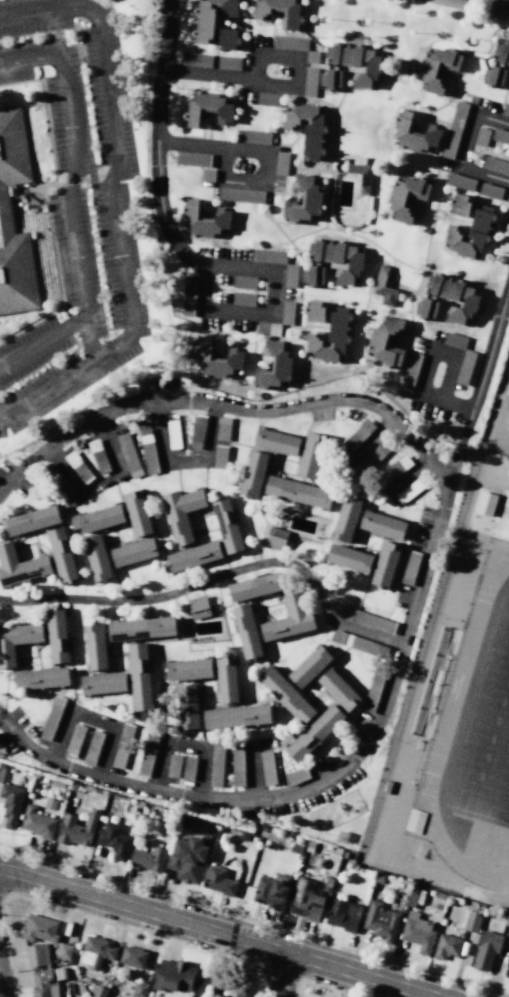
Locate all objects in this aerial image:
building: (280, 13)
road: (490, 14)
building: (212, 17)
road: (54, 34)
road: (272, 36)
building: (230, 39)
building: (289, 43)
building: (502, 52)
road: (278, 56)
building: (311, 56)
building: (196, 60)
building: (228, 62)
road: (244, 63)
building: (358, 63)
road: (252, 65)
road: (505, 67)
road: (347, 69)
building: (439, 69)
building: (495, 77)
road: (229, 79)
building: (331, 80)
building: (309, 81)
road: (346, 90)
road: (296, 92)
building: (267, 99)
road: (316, 99)
road: (503, 102)
road: (446, 105)
building: (209, 110)
building: (505, 110)
road: (439, 120)
road: (453, 123)
building: (306, 128)
building: (453, 130)
road: (210, 132)
building: (415, 135)
building: (252, 136)
building: (500, 136)
building: (481, 137)
road: (295, 140)
road: (155, 142)
road: (211, 147)
road: (273, 149)
road: (462, 149)
building: (192, 159)
building: (281, 163)
road: (448, 164)
building: (495, 166)
road: (418, 168)
road: (307, 169)
building: (361, 176)
building: (459, 182)
road: (243, 183)
road: (269, 190)
building: (489, 191)
road: (212, 193)
building: (241, 195)
road: (440, 196)
building: (406, 198)
building: (306, 201)
road: (111, 202)
building: (461, 205)
road: (69, 206)
parking lot: (76, 206)
road: (423, 208)
road: (440, 209)
building: (5, 210)
road: (470, 220)
building: (207, 221)
building: (473, 236)
building: (268, 256)
building: (339, 260)
road: (205, 265)
building: (290, 275)
building: (314, 276)
building: (244, 282)
building: (387, 287)
road: (415, 289)
road: (415, 292)
building: (455, 297)
building: (187, 298)
building: (242, 299)
road: (444, 303)
building: (427, 310)
building: (286, 312)
building: (315, 312)
road: (256, 321)
building: (267, 328)
road: (277, 328)
road: (223, 333)
road: (326, 333)
road: (432, 337)
road: (89, 338)
building: (333, 338)
building: (453, 340)
building: (387, 343)
road: (444, 354)
building: (218, 361)
building: (276, 366)
building: (464, 367)
building: (410, 369)
road: (477, 377)
road: (449, 380)
road: (420, 396)
building: (222, 428)
building: (174, 431)
building: (197, 431)
building: (355, 438)
road: (369, 440)
building: (276, 442)
building: (147, 451)
building: (128, 455)
building: (97, 456)
building: (310, 456)
building: (219, 457)
building: (371, 459)
road: (183, 461)
building: (77, 467)
building: (393, 469)
building: (252, 474)
road: (408, 474)
road: (101, 481)
building: (411, 490)
building: (296, 491)
building: (485, 503)
building: (137, 513)
building: (181, 513)
building: (97, 519)
building: (345, 519)
building: (31, 520)
building: (382, 525)
building: (226, 526)
building: (275, 539)
building: (133, 552)
building: (61, 554)
building: (193, 556)
building: (97, 558)
building: (348, 558)
road: (425, 560)
building: (385, 564)
building: (20, 566)
building: (409, 567)
road: (217, 580)
building: (256, 586)
building: (198, 607)
building: (288, 619)
building: (365, 619)
building: (141, 628)
building: (246, 631)
building: (56, 636)
building: (17, 640)
building: (358, 643)
building: (94, 647)
building: (309, 667)
building: (189, 670)
building: (41, 679)
building: (226, 680)
building: (140, 682)
building: (431, 682)
building: (103, 683)
building: (338, 689)
track: (455, 690)
building: (372, 693)
building: (284, 695)
building: (187, 707)
road: (91, 717)
building: (236, 717)
building: (51, 718)
building: (313, 733)
building: (74, 741)
building: (122, 745)
road: (187, 745)
building: (92, 747)
building: (147, 752)
park: (491, 753)
building: (236, 761)
building: (216, 764)
building: (173, 766)
building: (188, 768)
building: (267, 768)
road: (252, 770)
building: (297, 776)
building: (10, 804)
building: (37, 823)
building: (76, 829)
building: (113, 840)
building: (188, 857)
building: (148, 858)
building: (218, 881)
building: (272, 890)
building: (305, 900)
building: (343, 915)
building: (380, 921)
building: (471, 922)
building: (39, 928)
road: (215, 933)
building: (418, 933)
building: (446, 946)
building: (486, 949)
building: (63, 950)
building: (96, 951)
building: (36, 955)
building: (132, 956)
road: (216, 968)
building: (173, 976)
road: (287, 977)
building: (508, 978)
building: (45, 982)
road: (1, 990)
building: (99, 991)
building: (216, 995)

